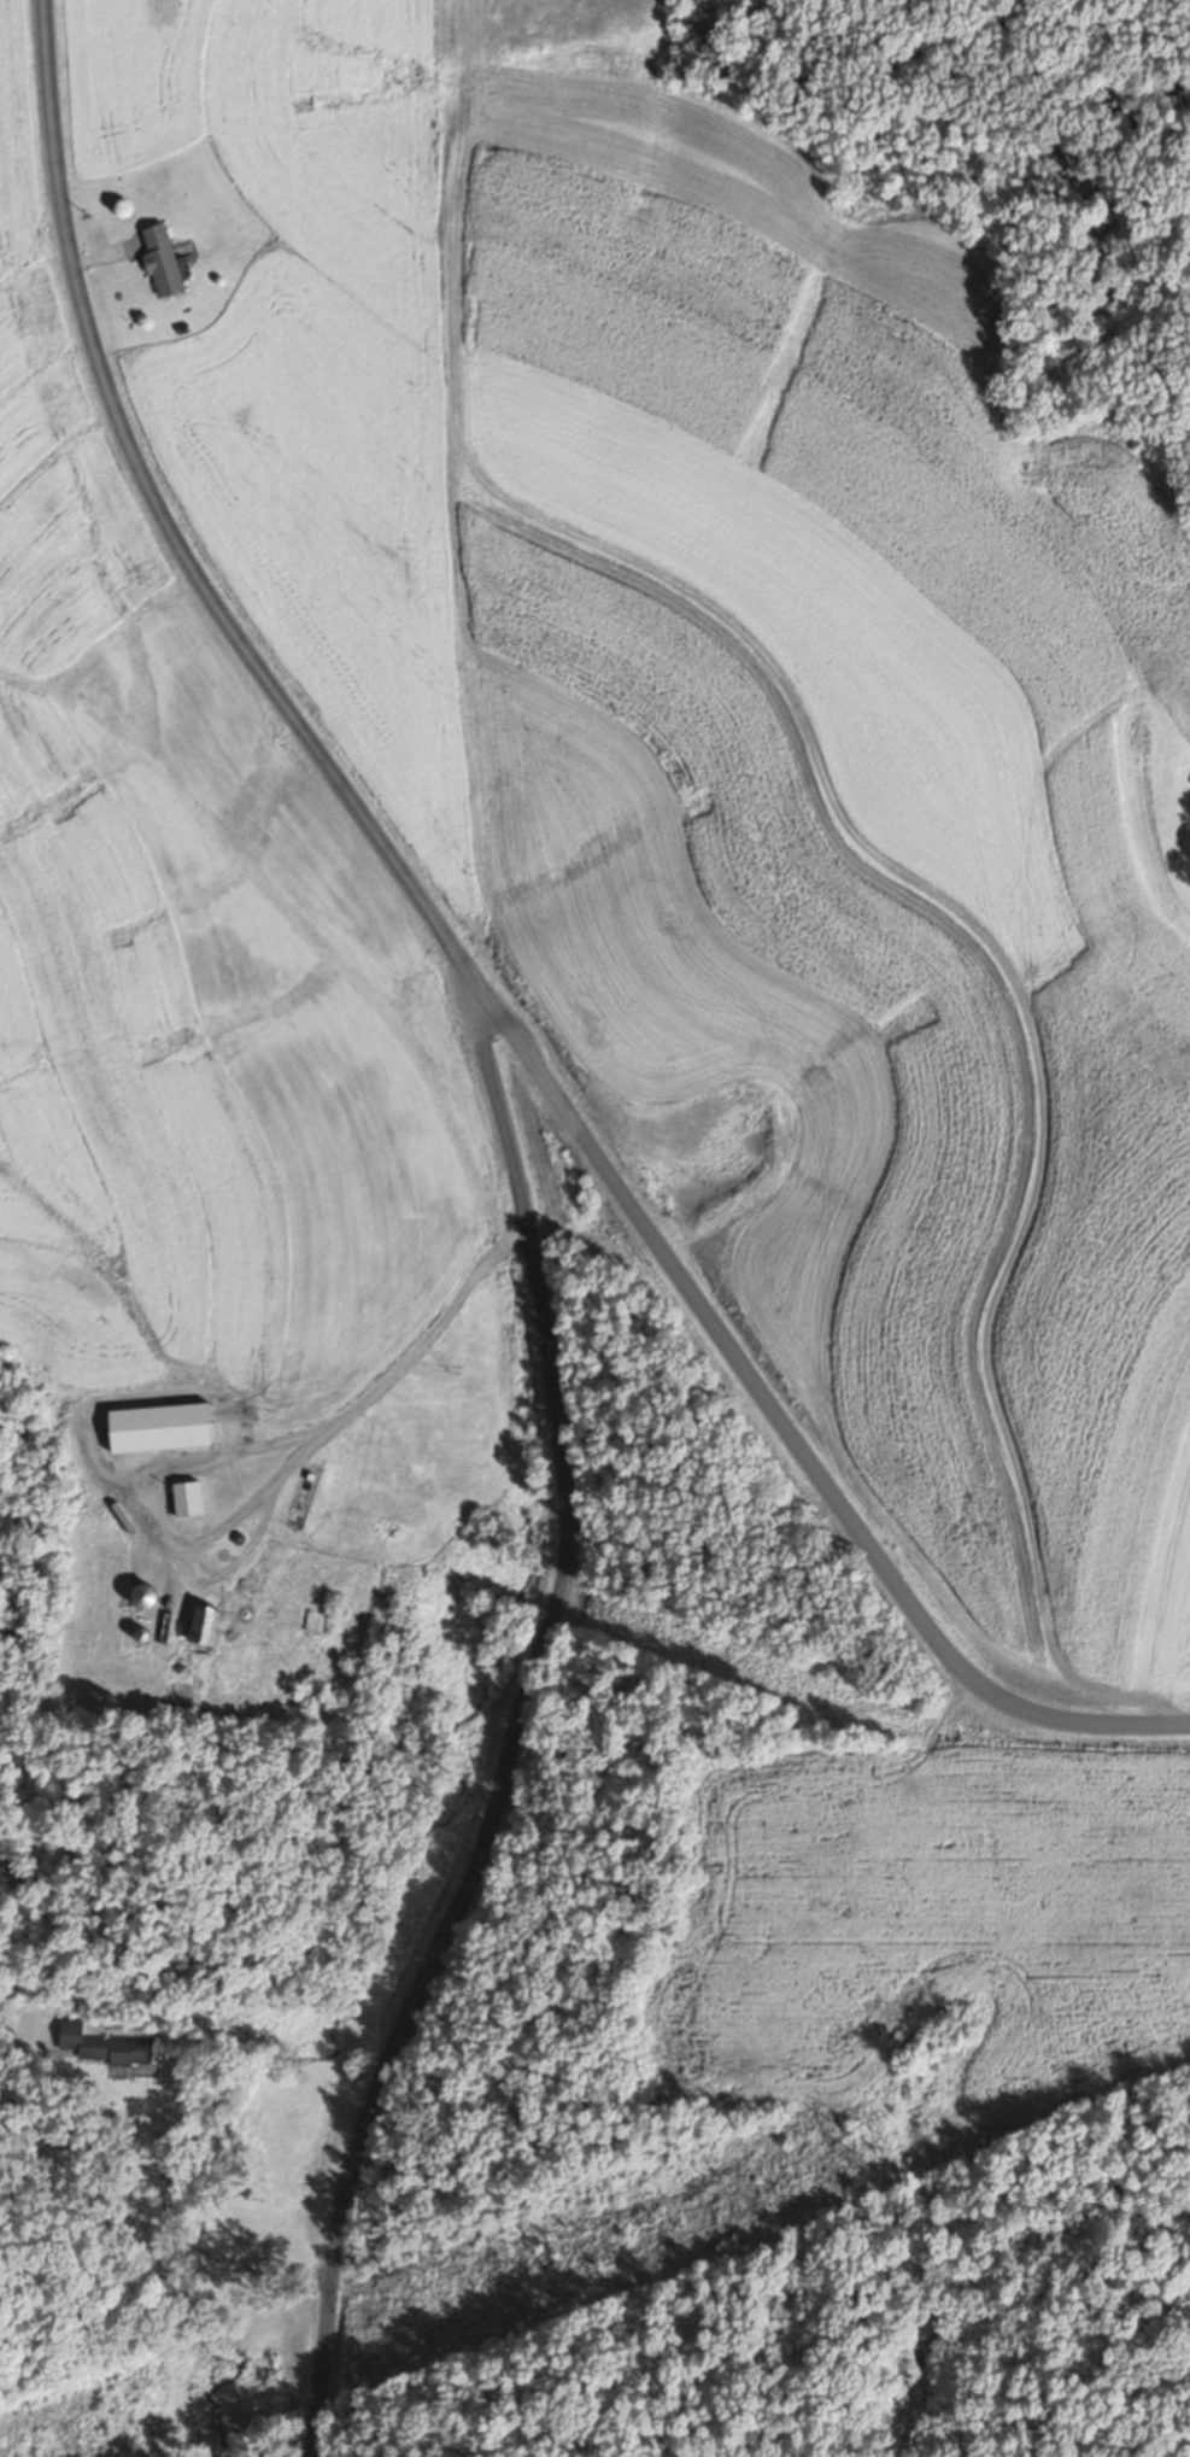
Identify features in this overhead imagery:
building: (158, 259)
road: (498, 1028)
building: (157, 1428)
road: (272, 1487)
building: (184, 1498)
building: (139, 1597)
building: (200, 1627)
building: (137, 1637)
road: (494, 1730)
building: (101, 2046)

